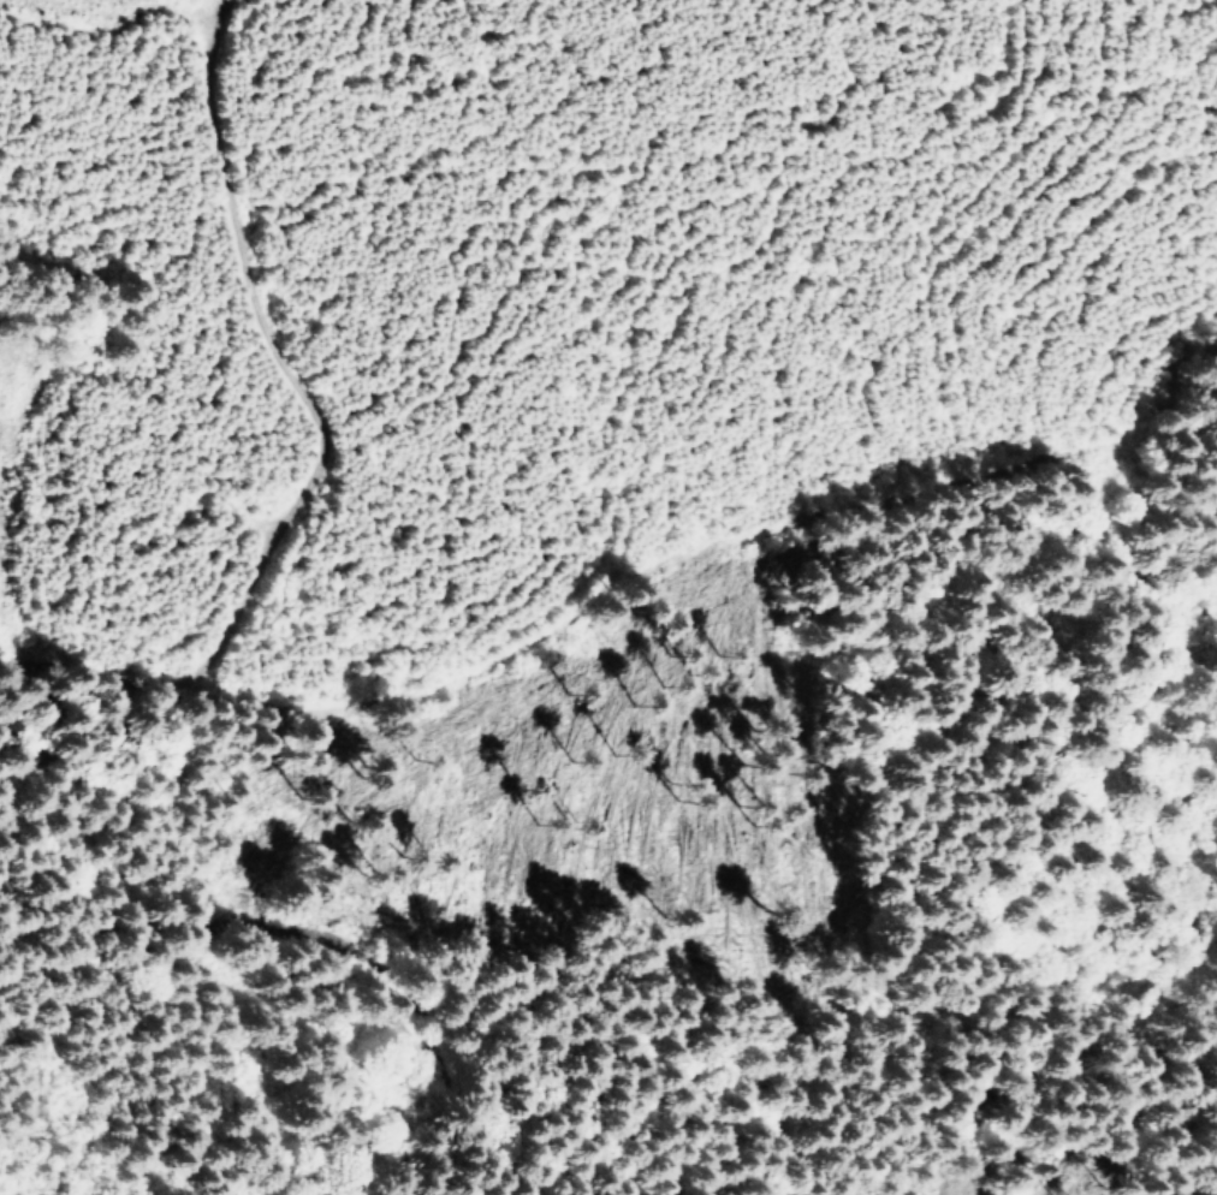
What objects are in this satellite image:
road: (309, 359)
road: (477, 704)
road: (350, 953)
road: (1108, 1151)

